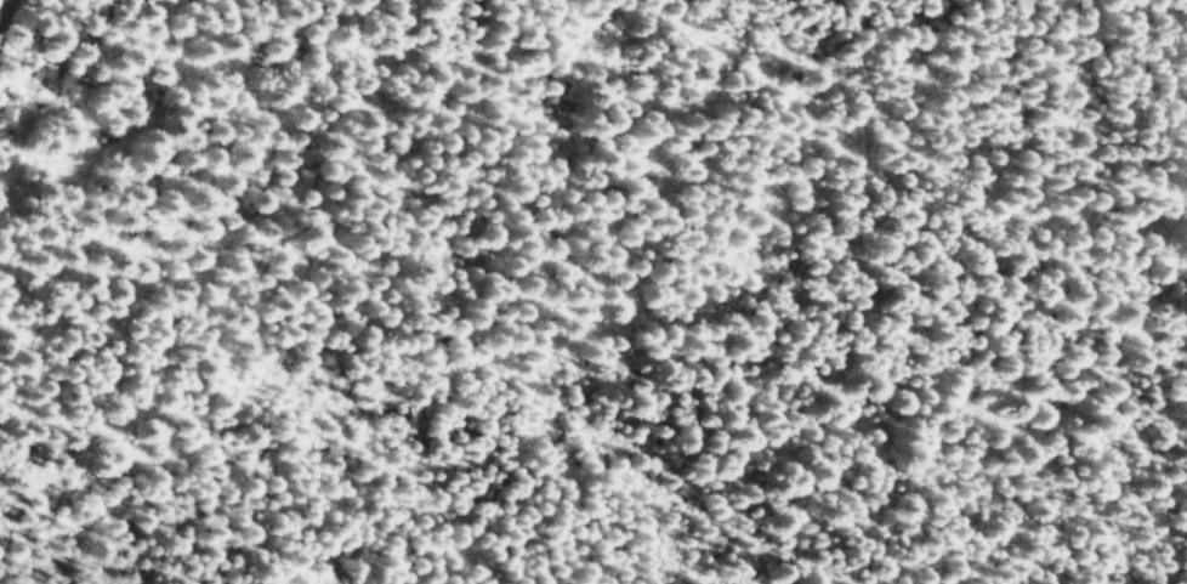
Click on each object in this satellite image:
road: (2, 7)

